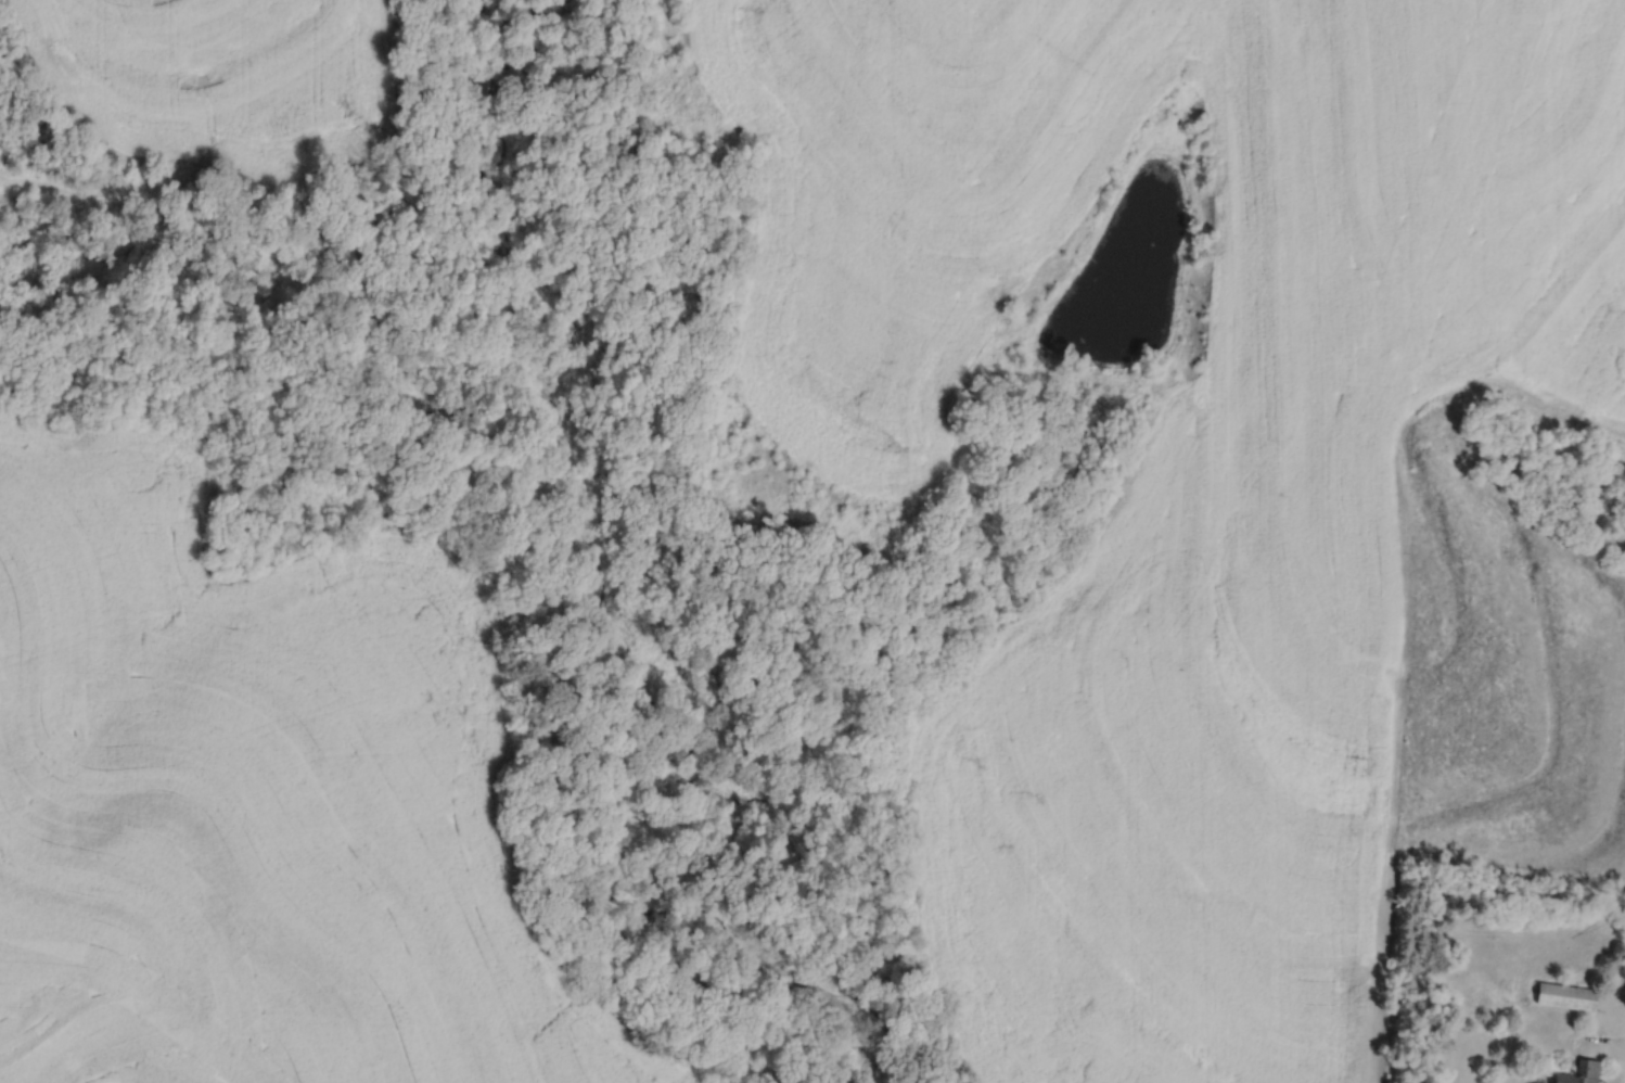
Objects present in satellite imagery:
building: (1565, 997)
building: (1579, 1073)

